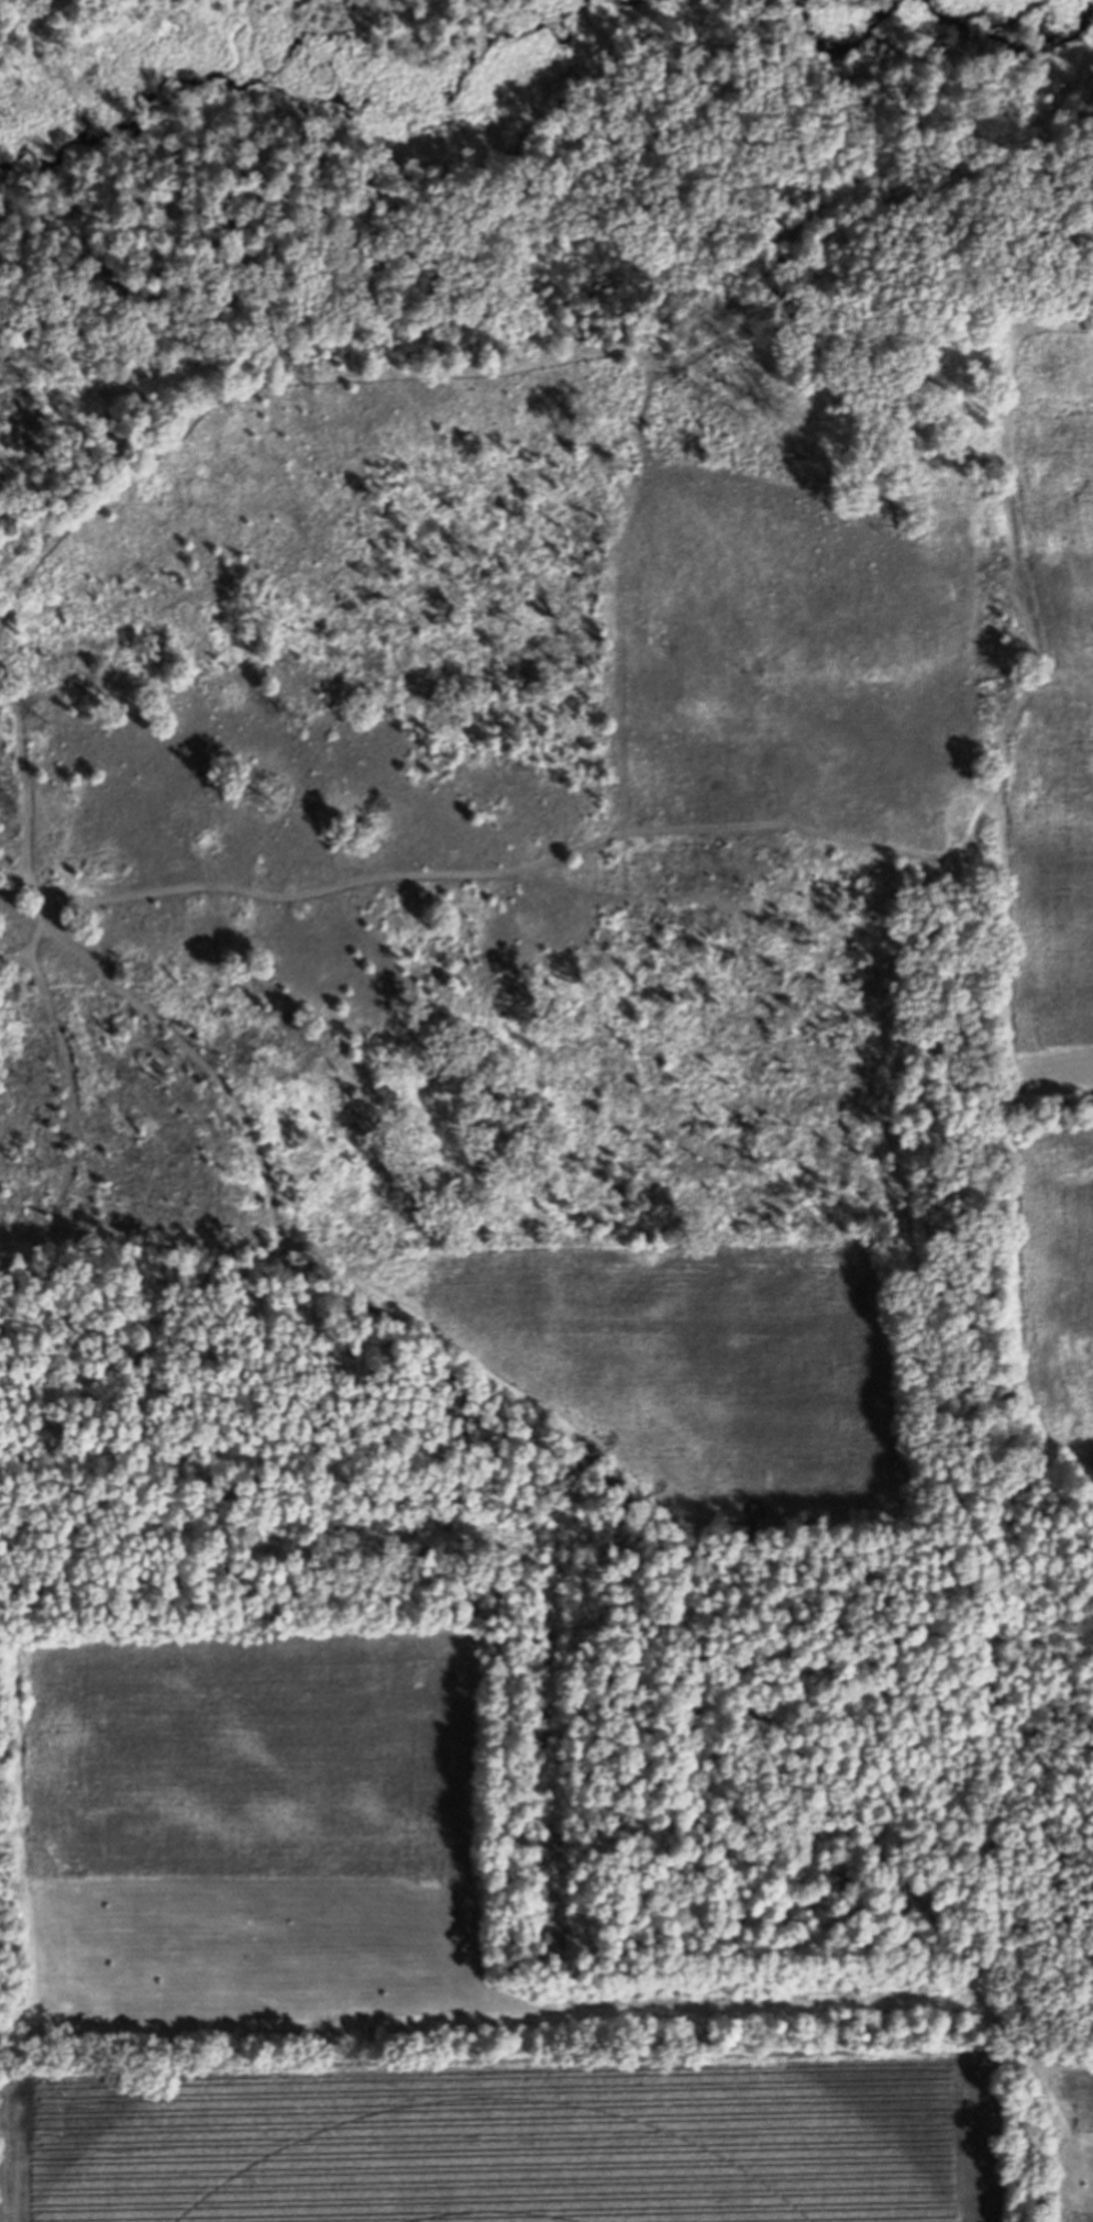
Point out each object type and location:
road: (514, 363)
road: (775, 837)
park: (549, 1088)
road: (1016, 1127)
road: (724, 1992)
road: (1026, 2052)

